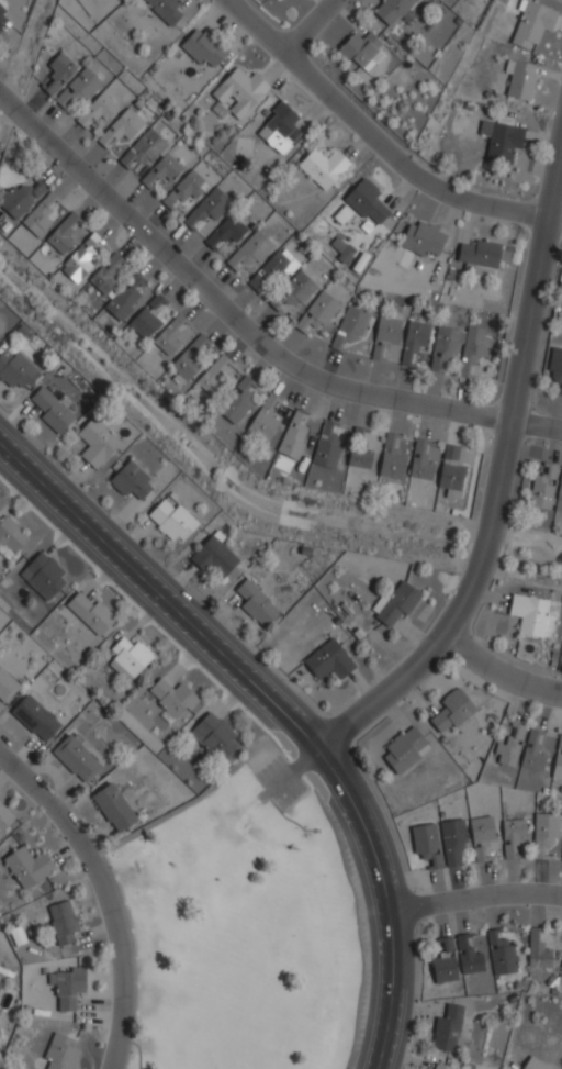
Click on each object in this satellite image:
building: (279, 1)
building: (165, 9)
building: (391, 10)
building: (3, 16)
building: (530, 23)
road: (307, 25)
building: (202, 46)
building: (361, 51)
building: (59, 70)
building: (519, 79)
building: (79, 89)
building: (237, 93)
building: (98, 109)
building: (121, 127)
building: (279, 129)
building: (501, 140)
road: (378, 141)
building: (142, 149)
building: (324, 166)
building: (161, 170)
building: (184, 192)
building: (21, 198)
building: (366, 201)
building: (206, 208)
building: (41, 215)
building: (226, 232)
building: (63, 234)
building: (423, 238)
building: (250, 250)
building: (477, 253)
building: (81, 259)
building: (271, 271)
building: (106, 274)
building: (296, 289)
building: (560, 291)
building: (125, 298)
building: (155, 301)
road: (226, 310)
building: (318, 312)
building: (144, 323)
building: (351, 325)
building: (385, 334)
building: (169, 336)
building: (414, 339)
building: (443, 347)
building: (473, 348)
building: (187, 363)
building: (555, 367)
building: (14, 369)
building: (214, 375)
building: (237, 401)
building: (263, 419)
road: (536, 426)
building: (294, 435)
building: (97, 443)
building: (326, 446)
building: (360, 449)
building: (420, 460)
building: (391, 461)
building: (451, 471)
road: (499, 478)
building: (131, 481)
building: (542, 487)
building: (560, 497)
building: (172, 520)
building: (10, 537)
building: (214, 556)
building: (43, 576)
building: (256, 603)
building: (395, 603)
building: (528, 613)
building: (91, 614)
building: (131, 656)
road: (225, 658)
building: (329, 660)
road: (501, 671)
building: (7, 687)
building: (172, 698)
building: (453, 710)
building: (35, 719)
building: (215, 737)
building: (509, 746)
building: (404, 750)
building: (532, 751)
building: (76, 759)
building: (558, 760)
building: (113, 808)
building: (5, 819)
building: (482, 828)
building: (546, 833)
building: (512, 835)
building: (453, 839)
building: (426, 844)
building: (479, 854)
building: (561, 861)
building: (27, 867)
road: (104, 895)
road: (473, 898)
building: (63, 922)
park: (246, 928)
park: (246, 928)
building: (538, 949)
building: (501, 954)
building: (469, 955)
building: (445, 964)
building: (561, 972)
building: (0, 983)
building: (68, 988)
road: (390, 991)
building: (448, 1028)
building: (61, 1053)
building: (532, 1065)
building: (441, 1067)

